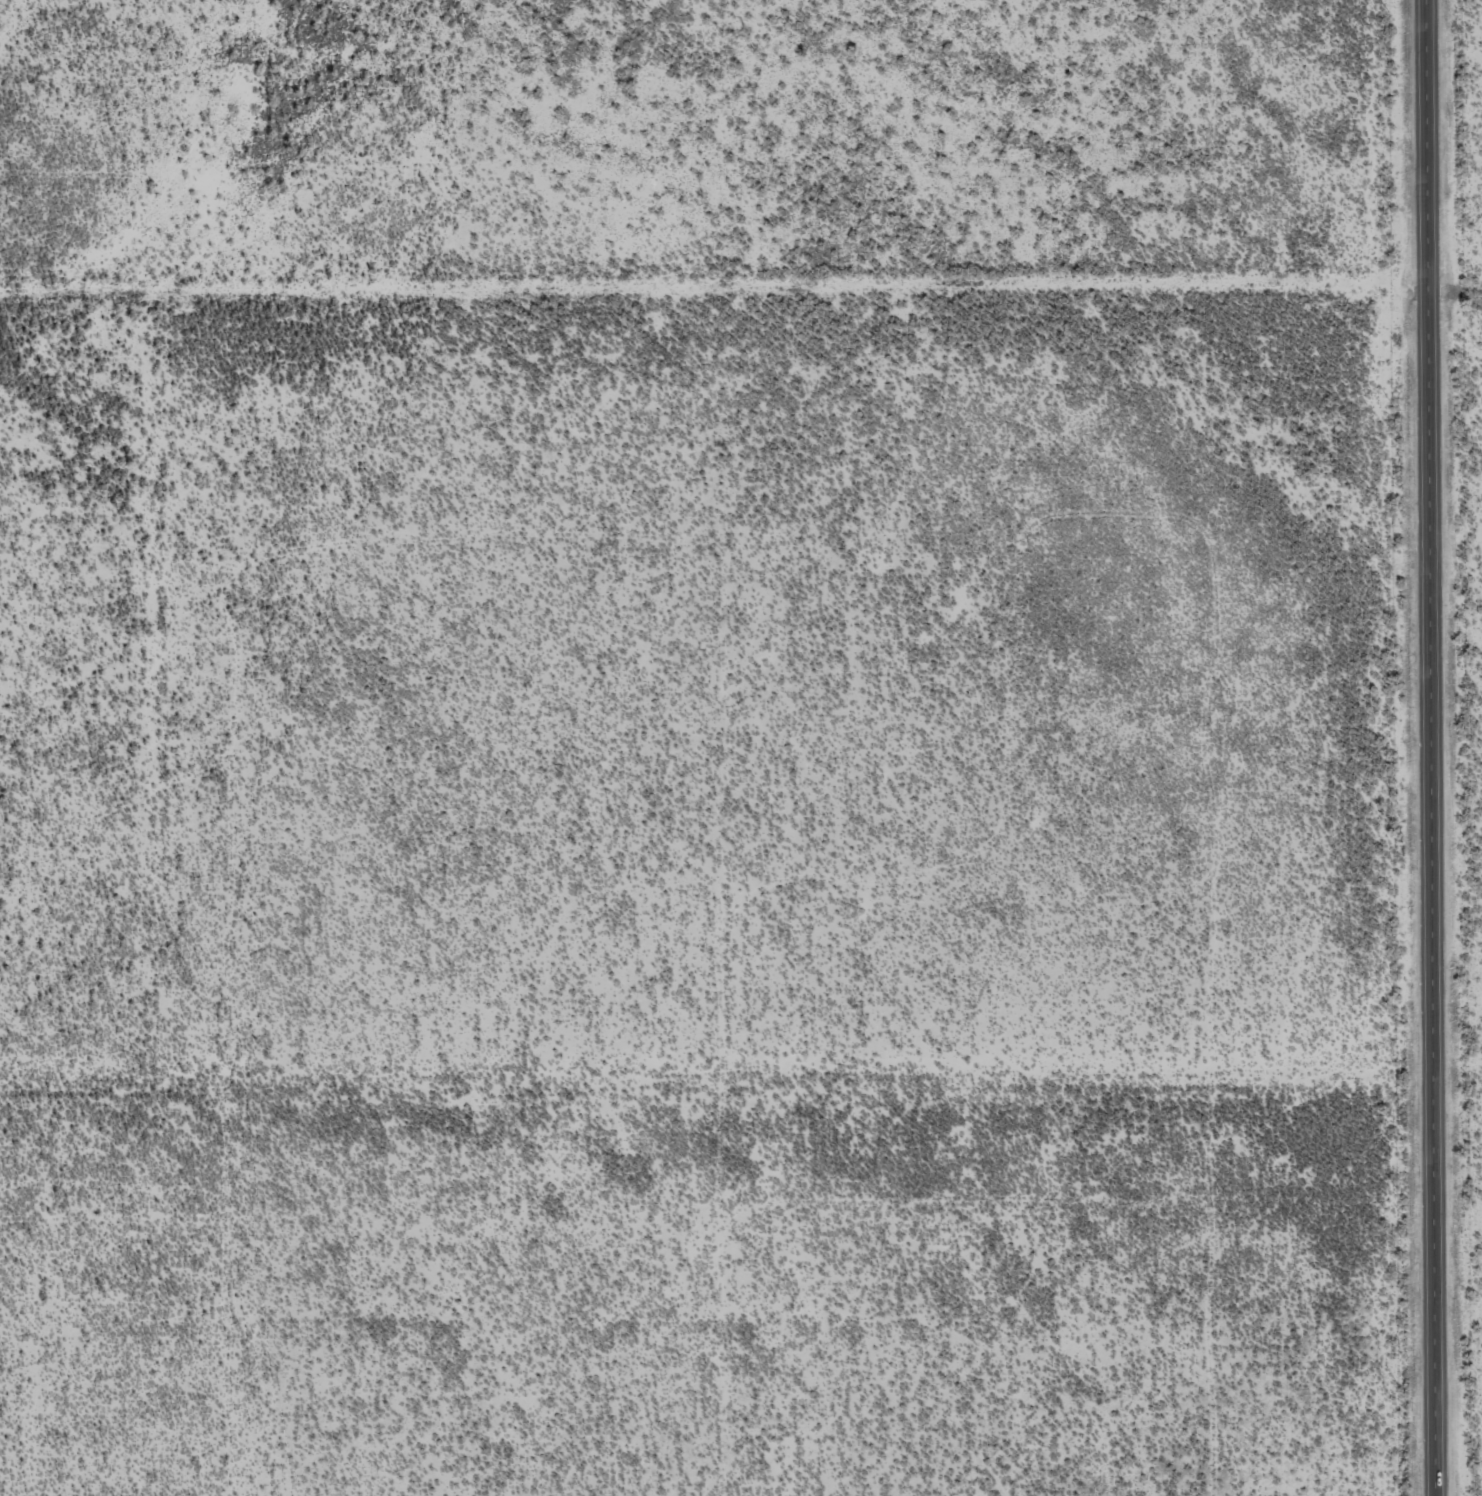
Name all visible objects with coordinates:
road: (1432, 748)

